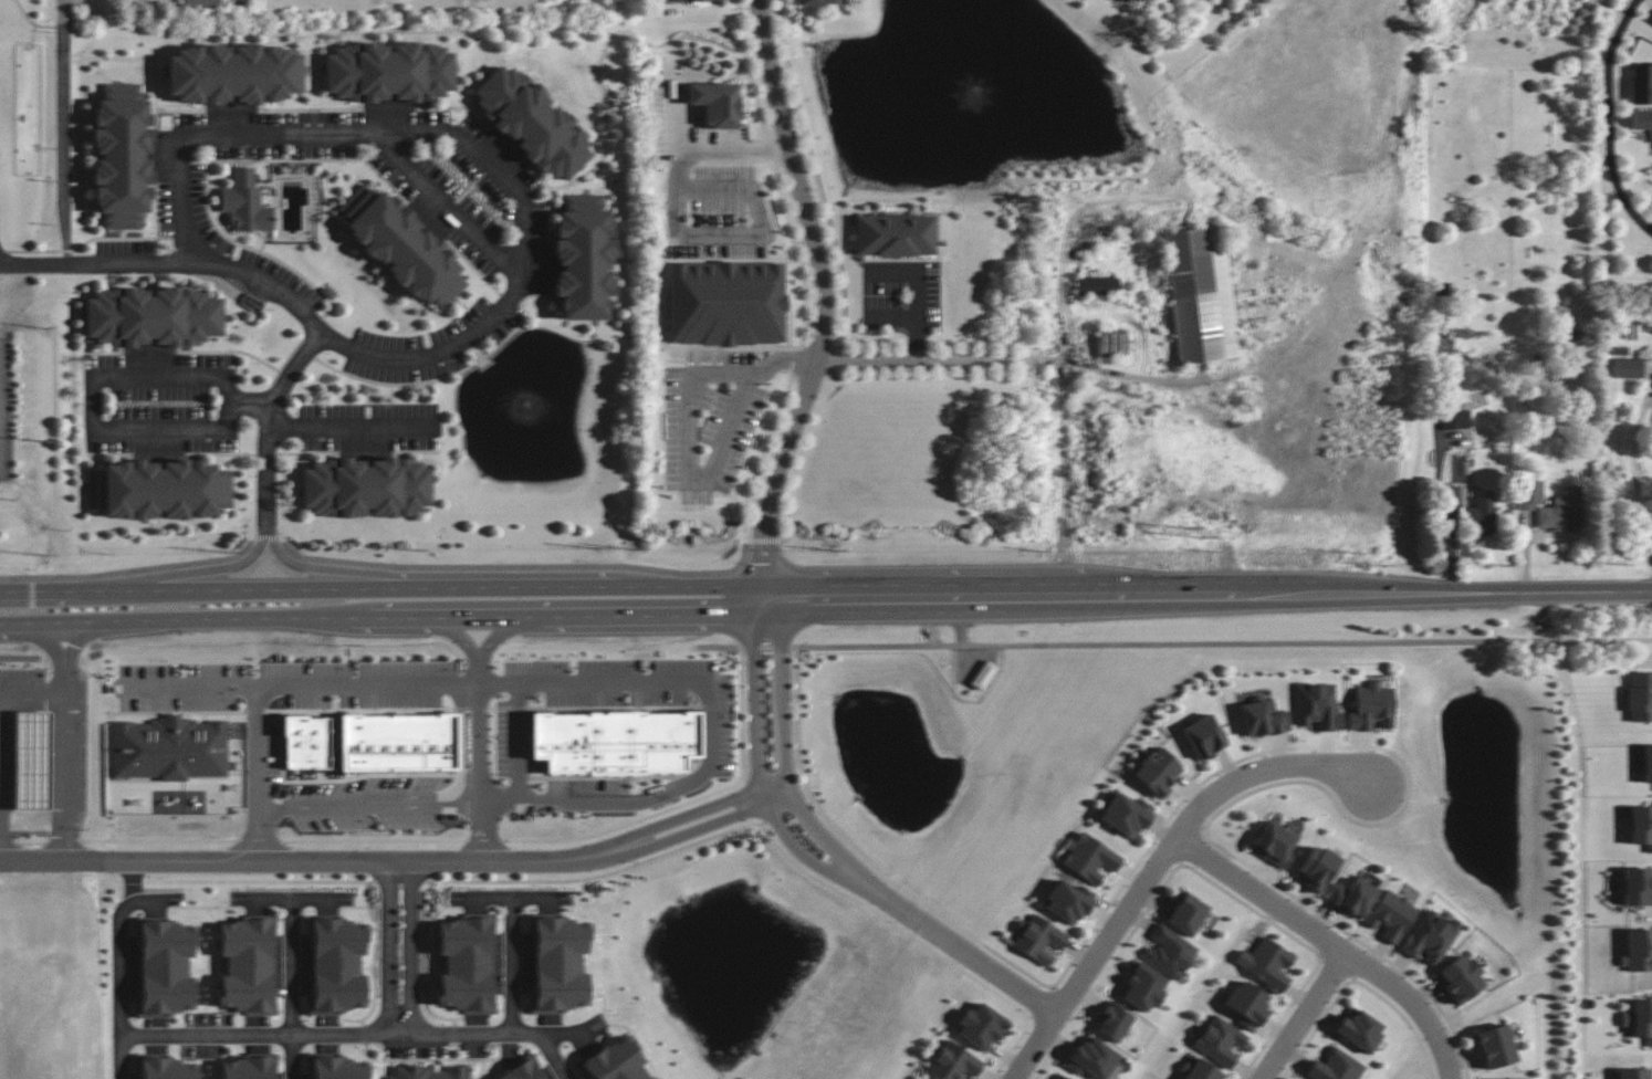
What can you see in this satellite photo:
building: (691, 0)
building: (814, 2)
building: (201, 3)
building: (389, 72)
building: (234, 74)
building: (1641, 84)
building: (715, 103)
road: (1611, 117)
building: (1641, 119)
road: (65, 121)
building: (532, 123)
road: (463, 143)
building: (122, 156)
building: (244, 202)
road: (447, 205)
road: (679, 234)
building: (893, 234)
building: (401, 247)
building: (583, 258)
building: (1097, 285)
road: (273, 286)
building: (1200, 294)
road: (825, 302)
building: (725, 303)
building: (153, 316)
building: (1110, 343)
road: (951, 363)
building: (1627, 368)
road: (91, 405)
road: (253, 405)
building: (1455, 419)
road: (687, 422)
road: (352, 426)
road: (1639, 470)
building: (365, 488)
building: (158, 489)
building: (1453, 494)
building: (1481, 515)
power tower: (1195, 535)
road: (266, 537)
road: (1445, 551)
road: (520, 565)
road: (130, 570)
road: (195, 572)
road: (358, 572)
road: (677, 587)
road: (292, 590)
road: (1209, 595)
road: (385, 619)
road: (1173, 642)
road: (470, 657)
building: (983, 674)
road: (644, 685)
road: (34, 694)
building: (1640, 696)
building: (1317, 706)
building: (1371, 706)
road: (252, 714)
building: (1262, 717)
building: (1203, 736)
building: (397, 741)
building: (305, 742)
building: (615, 742)
road: (69, 743)
road: (516, 745)
building: (169, 748)
building: (31, 760)
road: (472, 760)
building: (1646, 764)
building: (1157, 772)
road: (0, 795)
road: (364, 806)
building: (1126, 815)
building: (1641, 826)
building: (1274, 845)
road: (2, 846)
road: (829, 857)
building: (1090, 859)
road: (394, 861)
road: (1159, 865)
building: (1316, 868)
road: (129, 881)
building: (1637, 887)
road: (512, 892)
road: (291, 893)
building: (1353, 895)
road: (146, 898)
building: (1068, 902)
building: (1185, 913)
building: (1391, 915)
building: (1430, 937)
building: (1038, 939)
road: (1331, 943)
road: (394, 946)
building: (1637, 951)
building: (1168, 952)
road: (509, 962)
building: (466, 963)
building: (560, 964)
building: (1268, 964)
building: (248, 965)
building: (337, 966)
building: (166, 967)
building: (1460, 978)
road: (285, 986)
building: (1142, 987)
road: (117, 988)
building: (1246, 1004)
road: (1303, 1016)
building: (1639, 1019)
building: (1112, 1022)
building: (981, 1026)
road: (579, 1029)
building: (1359, 1029)
road: (313, 1031)
road: (556, 1035)
road: (546, 1041)
building: (1220, 1041)
building: (1495, 1046)
building: (1091, 1058)
building: (616, 1061)
building: (953, 1064)
building: (248, 1067)
building: (1335, 1067)
building: (339, 1068)
building: (168, 1069)
building: (1199, 1070)
building: (521, 1071)
building: (429, 1072)
building: (1633, 1073)
building: (1058, 1076)
building: (1515, 1078)

